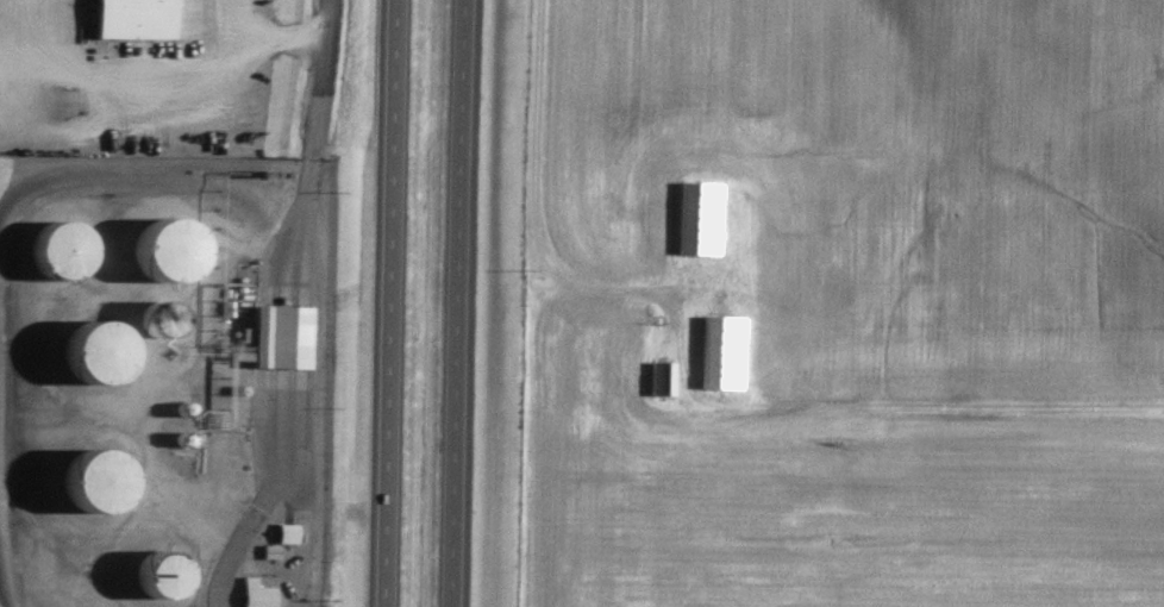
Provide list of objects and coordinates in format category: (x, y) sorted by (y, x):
building: (140, 18)
road: (290, 37)
building: (705, 217)
road: (394, 303)
road: (465, 303)
building: (283, 334)
building: (727, 351)
building: (665, 376)
building: (292, 532)
building: (275, 550)
building: (261, 593)

